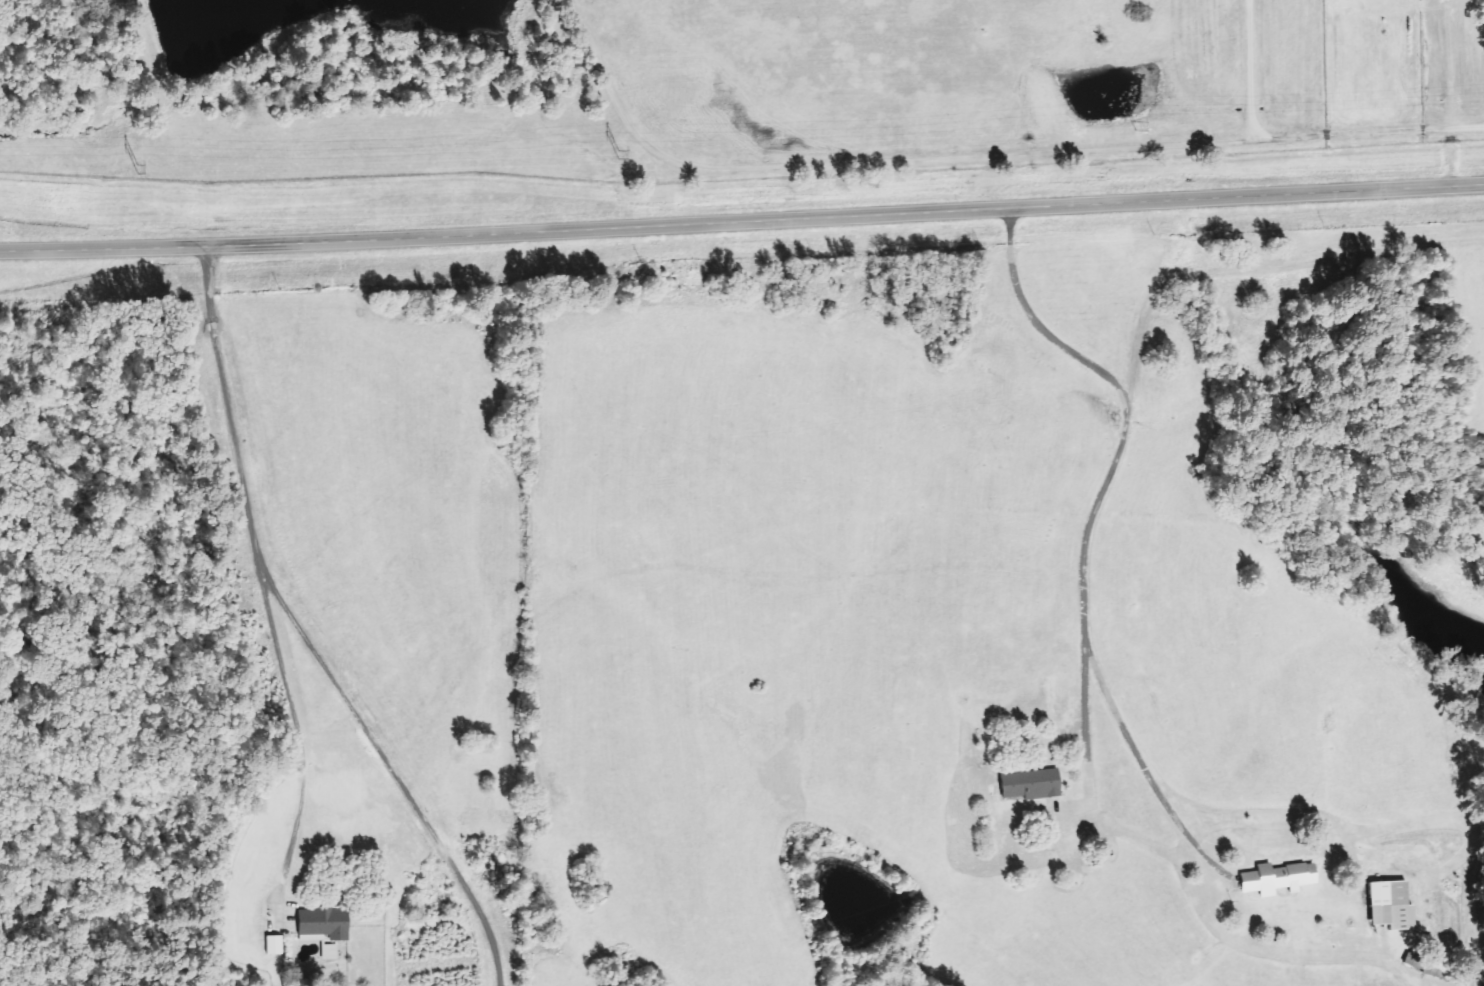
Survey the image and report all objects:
power tower: (1133, 130)
power tower: (619, 155)
power tower: (137, 172)
road: (742, 222)
road: (1084, 534)
road: (302, 634)
road: (298, 737)
road: (1084, 738)
building: (1027, 784)
building: (1273, 879)
building: (1385, 906)
building: (324, 923)
building: (274, 943)

